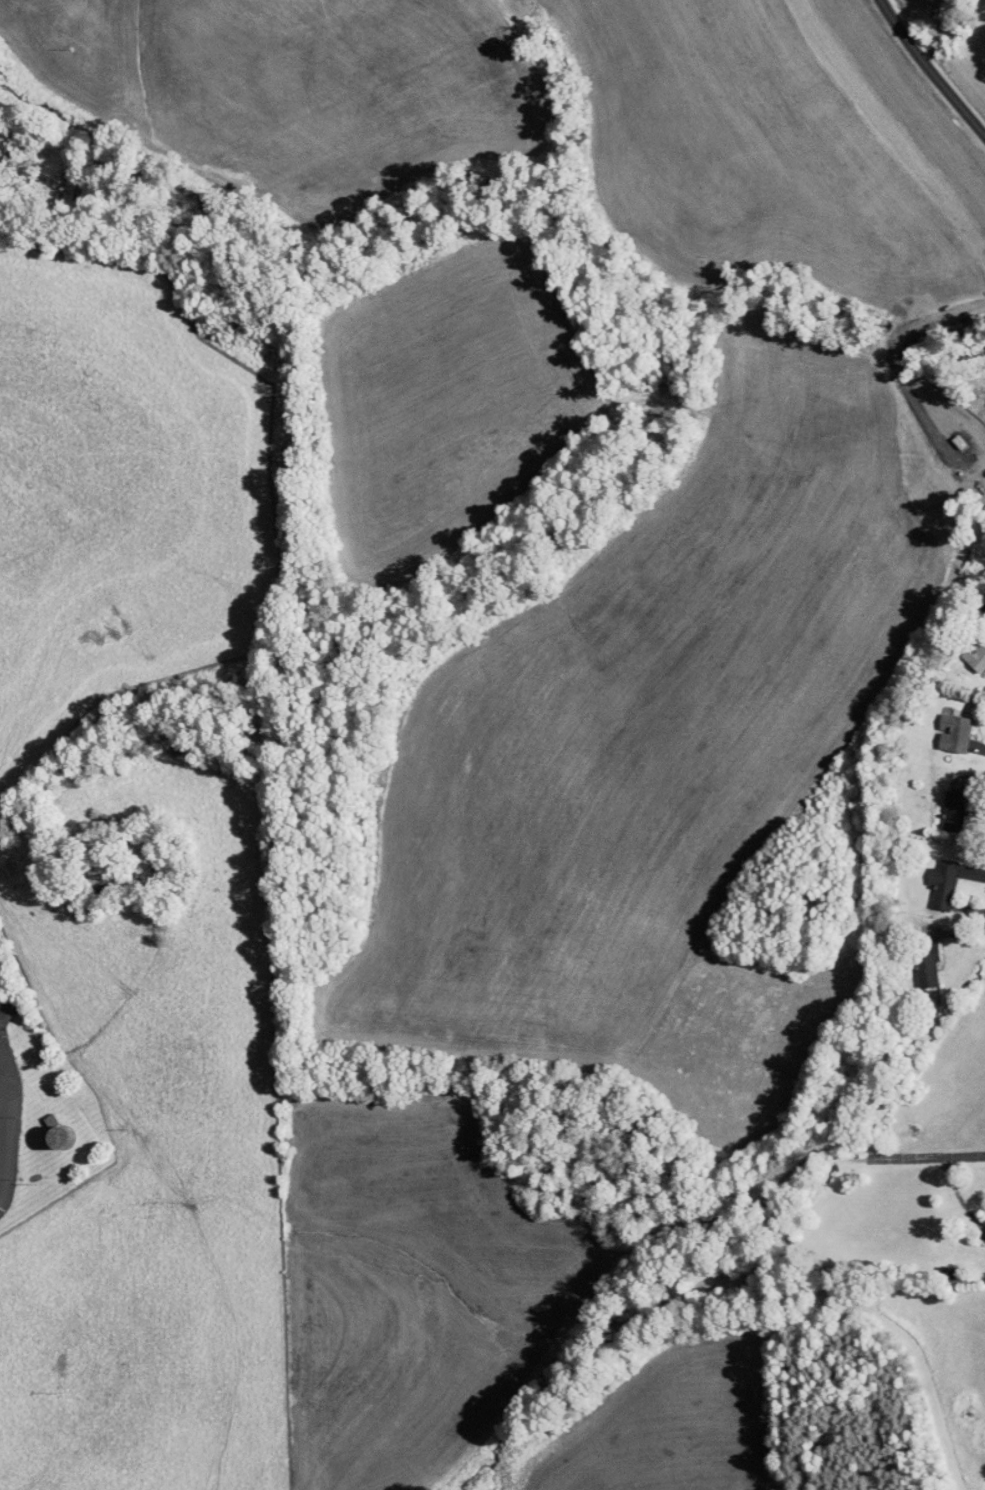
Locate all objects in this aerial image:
road: (933, 71)
building: (968, 647)
building: (941, 726)
building: (939, 803)
building: (930, 877)
road: (983, 895)
building: (914, 960)
road: (930, 1155)
road: (3, 1156)
building: (983, 1224)

